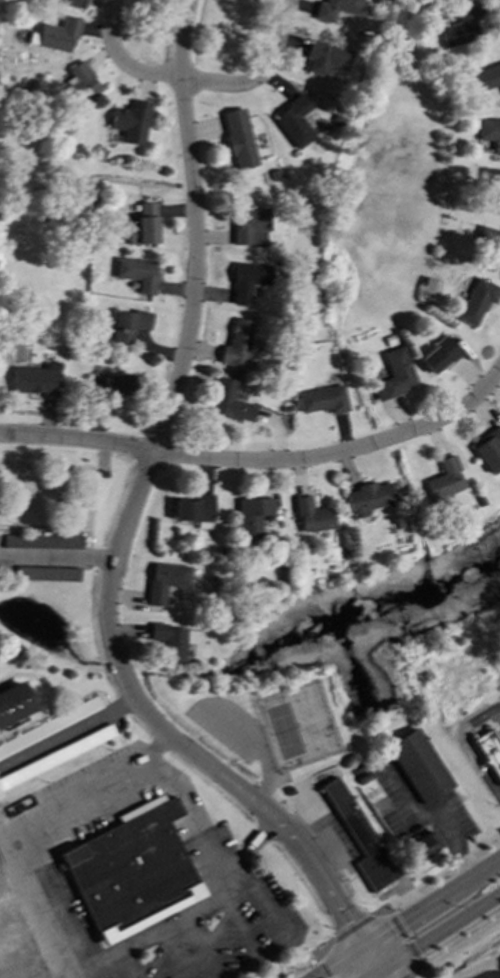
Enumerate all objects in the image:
building: (72, 3)
building: (335, 9)
building: (459, 28)
building: (326, 58)
road: (119, 60)
road: (259, 76)
building: (486, 77)
building: (80, 85)
building: (130, 122)
building: (293, 122)
building: (489, 133)
building: (237, 139)
building: (489, 181)
building: (248, 224)
building: (143, 226)
building: (488, 245)
building: (137, 274)
building: (247, 282)
building: (476, 301)
building: (127, 326)
building: (236, 345)
building: (437, 356)
building: (393, 375)
building: (35, 380)
building: (117, 386)
building: (321, 400)
building: (228, 402)
building: (488, 451)
road: (102, 456)
road: (262, 461)
road: (50, 465)
building: (444, 480)
building: (368, 499)
building: (193, 509)
building: (251, 516)
building: (311, 516)
road: (123, 536)
building: (41, 542)
road: (65, 559)
building: (46, 574)
building: (165, 581)
building: (168, 642)
building: (14, 703)
building: (49, 726)
road: (67, 736)
road: (463, 746)
building: (487, 754)
building: (56, 757)
building: (418, 766)
road: (87, 788)
road: (433, 815)
building: (359, 836)
building: (422, 847)
building: (132, 871)
road: (435, 874)
road: (237, 876)
road: (34, 906)
road: (406, 917)
road: (192, 918)
road: (350, 929)
road: (436, 934)
road: (403, 937)
road: (454, 946)
traffic signals: (362, 947)
road: (302, 960)
road: (320, 965)
road: (93, 973)
traffic signals: (380, 974)
road: (406, 977)

